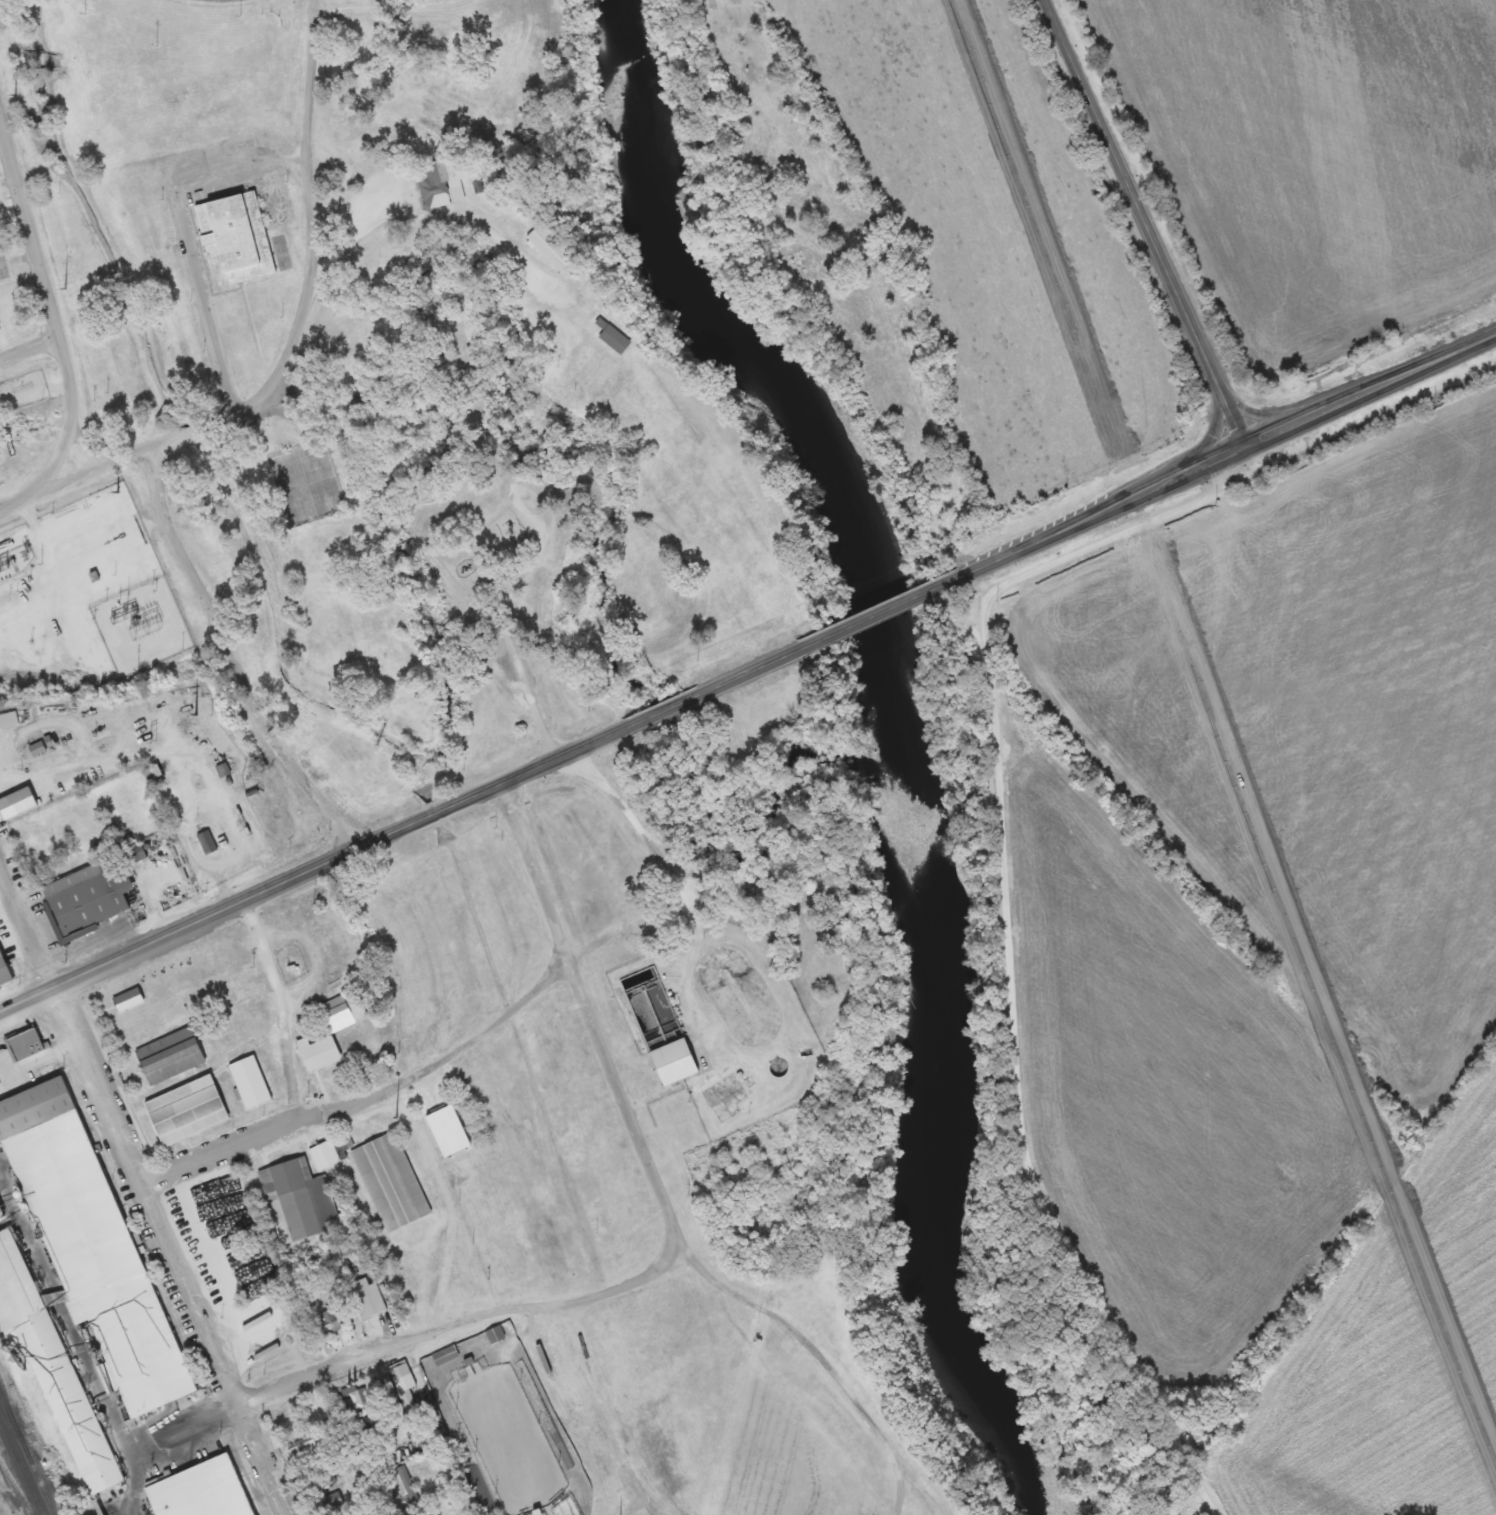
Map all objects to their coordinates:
power tower: (13, 95)
building: (448, 183)
road: (311, 212)
road: (1144, 221)
building: (242, 238)
building: (558, 248)
power tower: (61, 289)
road: (46, 298)
road: (30, 361)
road: (154, 438)
road: (1228, 450)
power tower: (114, 491)
road: (32, 492)
power substation: (83, 596)
road: (882, 612)
road: (751, 672)
road: (663, 711)
power tower: (193, 714)
building: (9, 720)
river: (909, 732)
building: (38, 749)
building: (27, 805)
road: (436, 811)
building: (208, 844)
road: (679, 879)
building: (87, 900)
road: (25, 928)
road: (1015, 930)
road: (124, 951)
building: (6, 968)
building: (646, 990)
building: (347, 1016)
building: (28, 1044)
building: (323, 1053)
building: (173, 1055)
building: (682, 1061)
building: (252, 1083)
road: (90, 1088)
road: (288, 1096)
building: (190, 1111)
power tower: (394, 1117)
building: (452, 1131)
building: (387, 1179)
building: (300, 1201)
building: (80, 1280)
building: (366, 1298)
road: (528, 1307)
building: (331, 1321)
road: (67, 1326)
building: (495, 1334)
road: (207, 1352)
building: (444, 1356)
road: (241, 1400)
building: (304, 1451)
railway: (27, 1454)
railway: (21, 1466)
building: (208, 1491)
building: (97, 1509)

